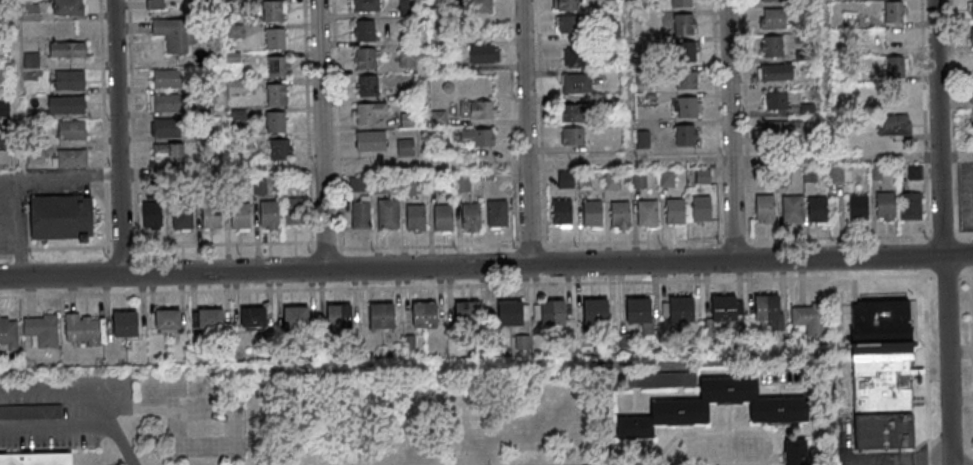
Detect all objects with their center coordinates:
building: (772, 1)
building: (157, 4)
building: (681, 4)
building: (365, 5)
building: (566, 5)
building: (481, 6)
building: (68, 7)
building: (406, 7)
building: (970, 8)
building: (30, 11)
building: (273, 11)
building: (894, 12)
building: (775, 19)
building: (569, 25)
building: (682, 25)
building: (612, 28)
building: (364, 31)
building: (172, 34)
building: (971, 36)
building: (274, 39)
building: (772, 46)
building: (67, 49)
building: (687, 52)
building: (484, 53)
building: (575, 57)
building: (31, 59)
building: (365, 59)
building: (406, 60)
building: (972, 64)
building: (276, 67)
building: (895, 67)
building: (777, 71)
building: (3, 72)
building: (167, 77)
road: (825, 78)
building: (69, 80)
road: (627, 80)
building: (686, 80)
building: (576, 83)
building: (367, 87)
building: (971, 93)
building: (276, 95)
building: (898, 95)
building: (775, 100)
building: (167, 102)
building: (66, 104)
building: (688, 107)
building: (4, 108)
building: (477, 109)
building: (367, 112)
building: (575, 112)
building: (438, 118)
building: (407, 121)
building: (275, 122)
building: (894, 124)
building: (167, 127)
building: (783, 127)
building: (71, 130)
road: (731, 130)
road: (527, 132)
building: (685, 134)
road: (321, 135)
building: (572, 136)
road: (116, 137)
building: (477, 137)
building: (371, 141)
building: (405, 147)
building: (441, 147)
building: (279, 150)
building: (168, 152)
road: (956, 155)
road: (836, 156)
building: (71, 158)
road: (630, 159)
building: (839, 173)
building: (916, 175)
building: (702, 176)
building: (667, 178)
building: (566, 179)
building: (612, 179)
building: (585, 180)
building: (639, 180)
road: (22, 181)
building: (434, 184)
building: (461, 184)
building: (378, 185)
building: (407, 187)
building: (911, 205)
building: (885, 206)
building: (858, 207)
building: (701, 208)
building: (764, 208)
building: (792, 208)
building: (817, 210)
building: (293, 212)
building: (675, 212)
building: (562, 213)
building: (647, 213)
building: (268, 214)
building: (360, 214)
building: (387, 214)
building: (497, 214)
building: (592, 214)
building: (619, 214)
building: (152, 215)
building: (181, 216)
building: (210, 216)
building: (239, 216)
building: (470, 217)
building: (61, 218)
building: (415, 218)
building: (443, 218)
road: (942, 232)
road: (486, 267)
road: (971, 272)
road: (558, 282)
building: (677, 309)
building: (724, 309)
building: (638, 310)
building: (595, 311)
building: (768, 311)
building: (513, 312)
building: (552, 312)
building: (467, 313)
building: (424, 314)
building: (339, 316)
building: (381, 316)
building: (296, 317)
building: (207, 318)
building: (254, 318)
building: (167, 320)
building: (809, 320)
building: (125, 323)
building: (84, 329)
building: (41, 330)
building: (8, 332)
road: (971, 339)
building: (410, 343)
building: (882, 375)
road: (61, 397)
building: (30, 411)
building: (779, 411)
road: (54, 425)
road: (120, 444)
building: (795, 452)
building: (37, 459)
parking lot: (884, 459)
road: (926, 459)
road: (880, 460)

